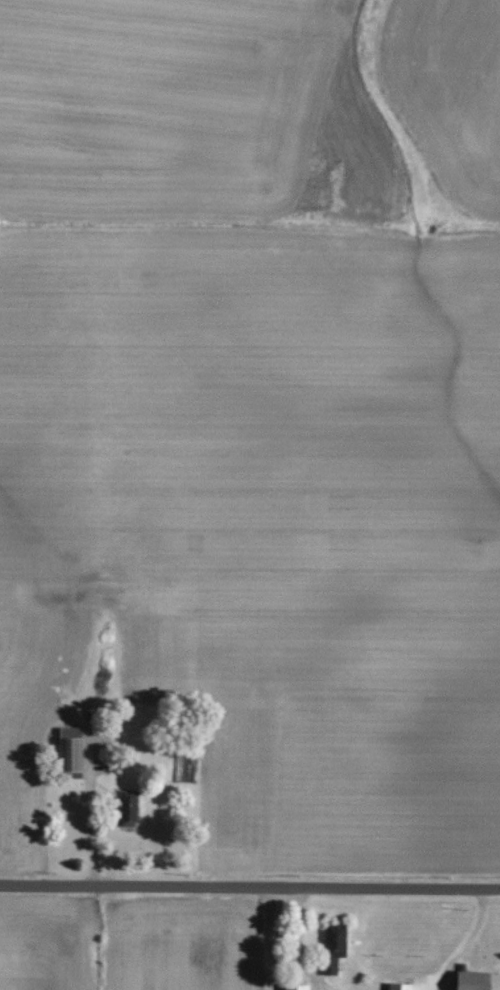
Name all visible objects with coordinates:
road: (88, 805)
road: (250, 887)
road: (467, 942)
building: (335, 946)
road: (276, 953)
building: (478, 980)
building: (305, 986)
building: (402, 986)

